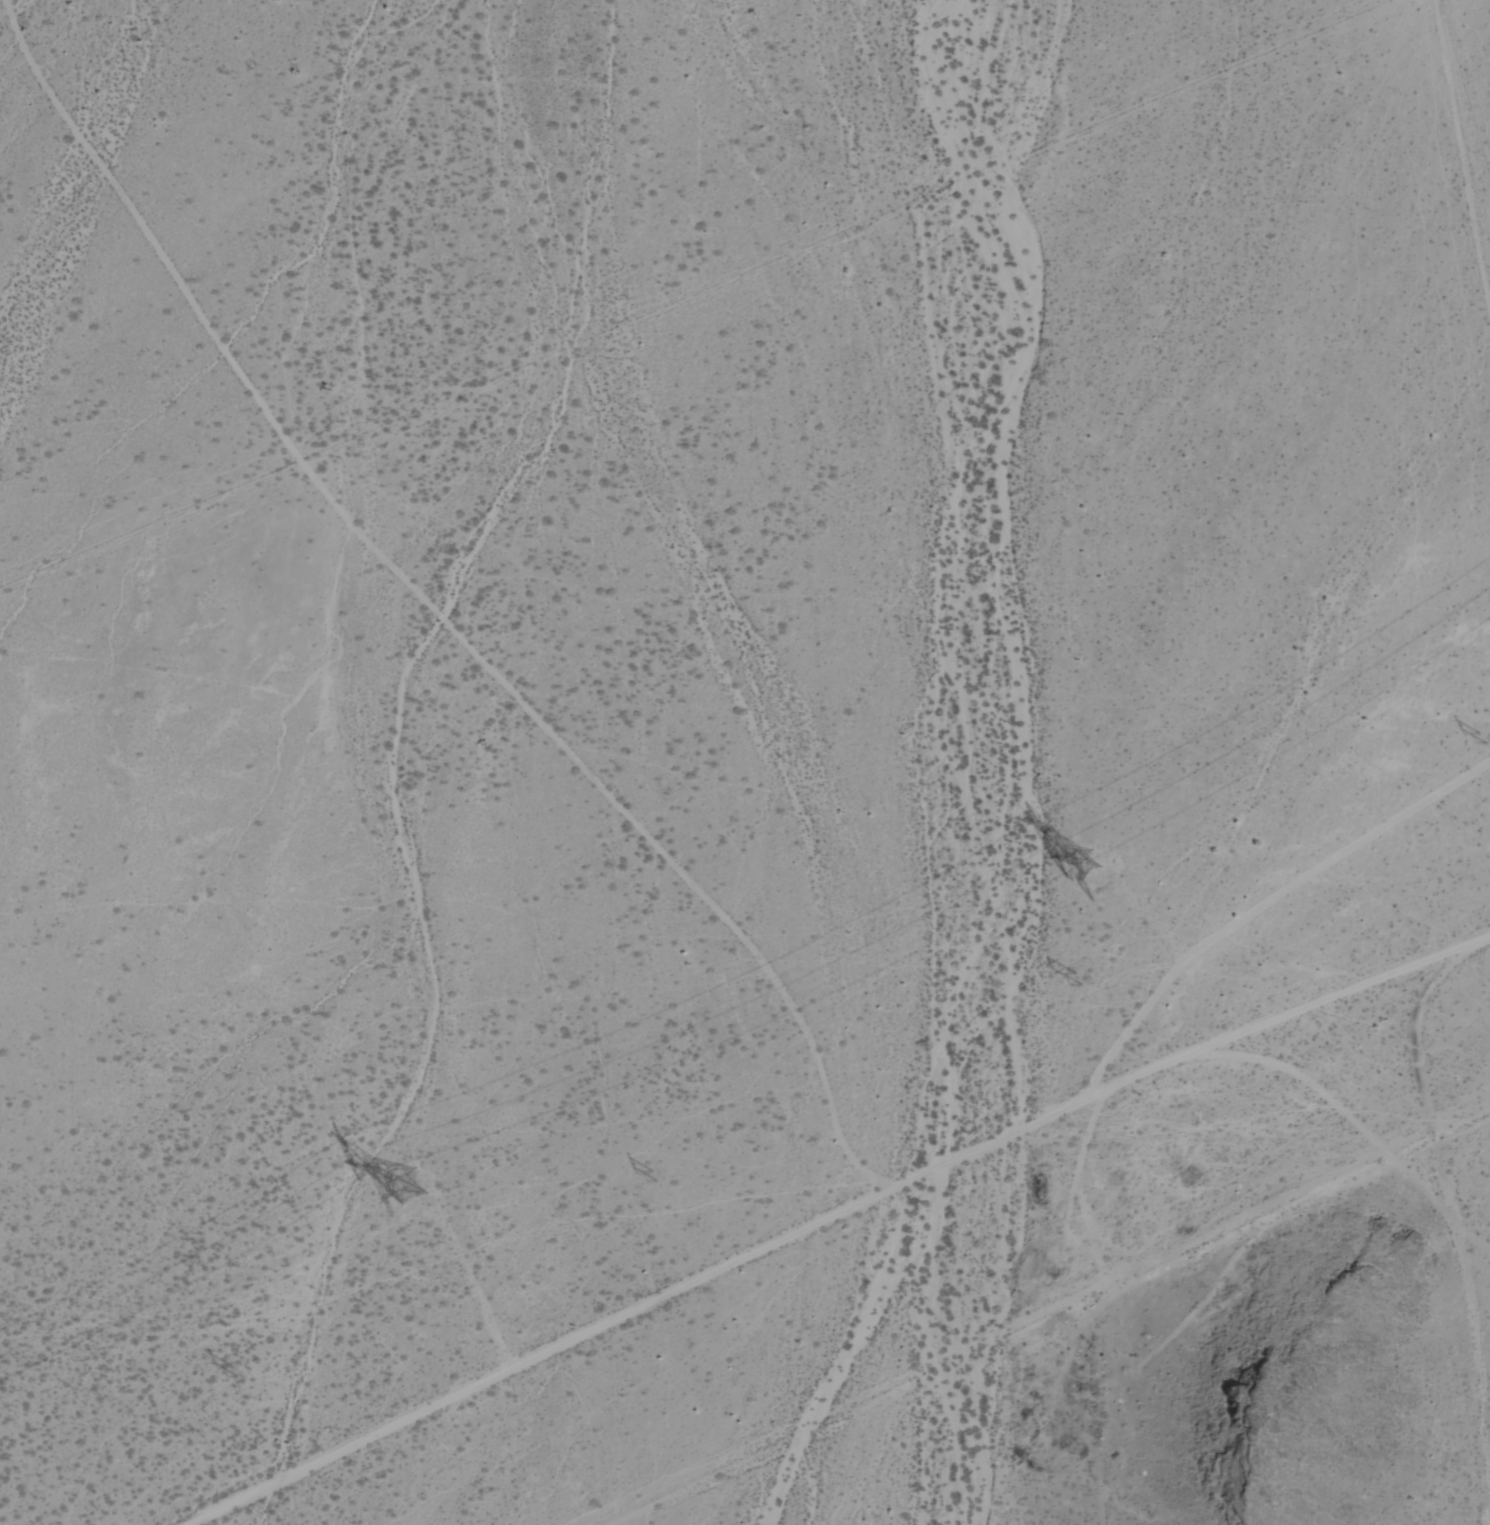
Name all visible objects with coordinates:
road: (434, 610)
power tower: (1486, 734)
power tower: (1075, 864)
power tower: (1073, 978)
road: (1345, 991)
road: (1415, 1029)
road: (1051, 1126)
power tower: (654, 1175)
power tower: (412, 1185)
road: (539, 1357)
power tower: (232, 1366)

